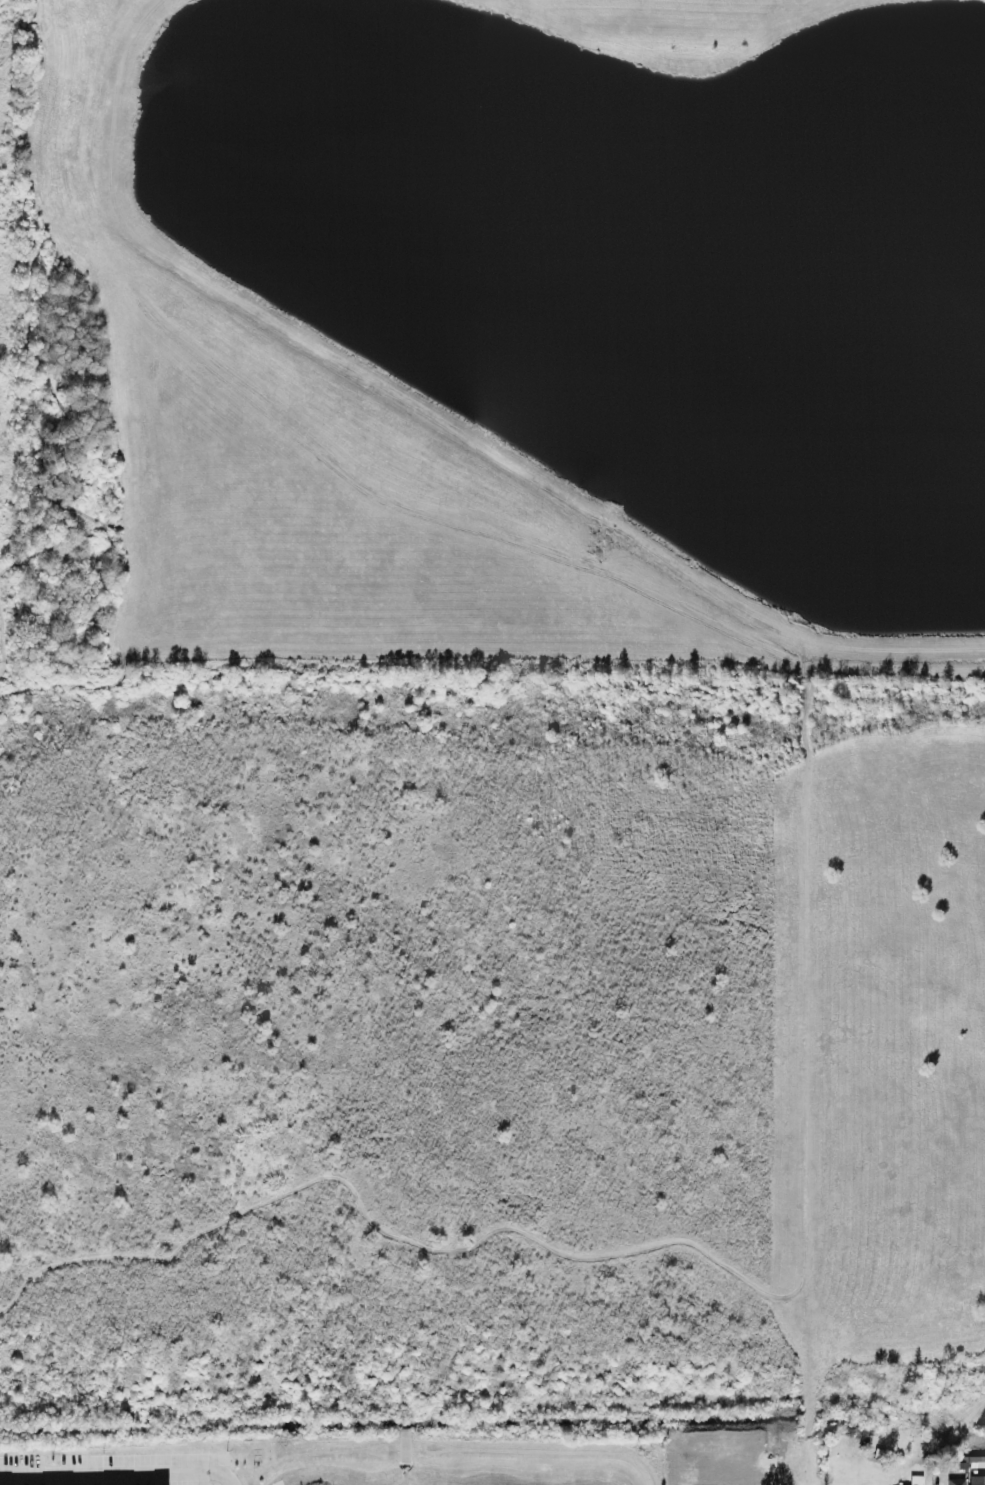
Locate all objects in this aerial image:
park: (492, 718)
road: (425, 1443)
road: (387, 1446)
road: (564, 1449)
road: (303, 1451)
road: (659, 1456)
building: (977, 1459)
road: (112, 1470)
road: (246, 1470)
road: (232, 1475)
road: (859, 1475)
building: (977, 1479)
building: (955, 1480)
building: (909, 1484)

